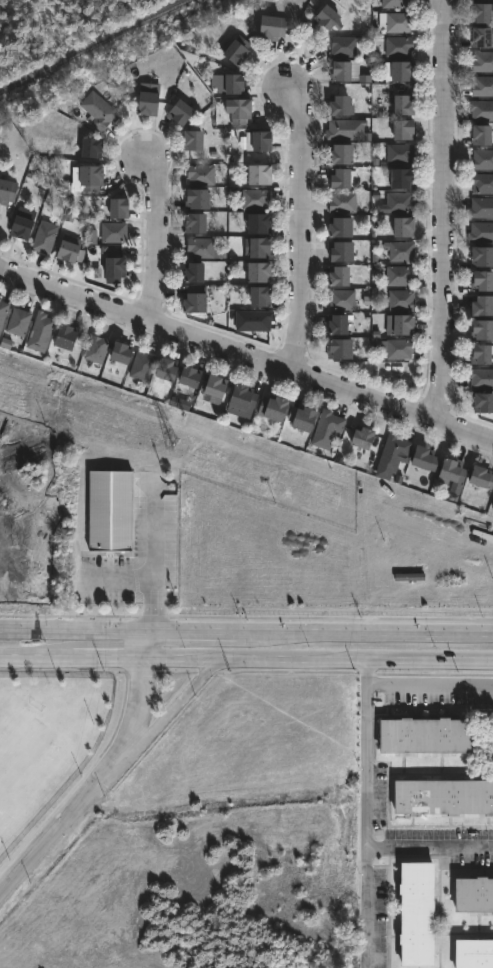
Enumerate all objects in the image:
building: (394, 4)
building: (479, 14)
building: (324, 18)
building: (397, 22)
park: (50, 23)
building: (271, 27)
building: (479, 38)
railway: (92, 45)
building: (397, 46)
building: (343, 47)
building: (234, 48)
building: (482, 61)
building: (341, 69)
building: (400, 70)
building: (226, 83)
building: (482, 86)
building: (144, 102)
building: (401, 103)
building: (336, 104)
building: (96, 110)
building: (238, 110)
building: (481, 110)
building: (177, 111)
building: (401, 128)
building: (345, 129)
building: (479, 133)
building: (190, 139)
building: (258, 140)
building: (88, 147)
building: (338, 152)
building: (399, 153)
building: (483, 158)
building: (256, 173)
building: (199, 174)
building: (88, 176)
building: (338, 177)
building: (399, 177)
building: (482, 183)
building: (6, 191)
building: (195, 197)
building: (253, 198)
building: (341, 201)
building: (398, 202)
road: (441, 206)
building: (115, 207)
building: (480, 207)
building: (256, 222)
building: (193, 223)
building: (19, 224)
building: (338, 226)
building: (401, 226)
road: (301, 231)
building: (112, 232)
building: (480, 232)
building: (43, 236)
road: (159, 236)
building: (91, 237)
building: (65, 246)
building: (199, 246)
building: (258, 247)
building: (339, 250)
building: (400, 250)
building: (480, 255)
building: (112, 269)
building: (190, 271)
building: (256, 271)
building: (336, 274)
building: (398, 275)
building: (480, 280)
building: (257, 295)
building: (341, 299)
building: (400, 300)
building: (192, 302)
building: (479, 305)
building: (2, 310)
building: (252, 320)
building: (17, 322)
building: (335, 323)
building: (401, 323)
building: (480, 329)
building: (38, 332)
building: (62, 336)
building: (95, 348)
building: (337, 348)
building: (398, 348)
road: (246, 349)
building: (116, 351)
building: (478, 353)
building: (140, 366)
building: (164, 368)
building: (187, 376)
building: (480, 377)
building: (212, 386)
building: (240, 396)
building: (481, 402)
building: (270, 407)
building: (299, 417)
building: (325, 429)
building: (359, 436)
power tower: (175, 446)
building: (391, 456)
building: (422, 458)
building: (449, 471)
building: (479, 477)
building: (492, 503)
building: (110, 510)
road: (152, 556)
road: (115, 581)
road: (110, 631)
road: (357, 632)
road: (351, 661)
road: (105, 662)
road: (428, 685)
road: (136, 699)
road: (167, 716)
building: (421, 736)
building: (442, 797)
road: (363, 814)
road: (60, 835)
road: (428, 846)
building: (472, 896)
building: (413, 916)
building: (473, 954)

